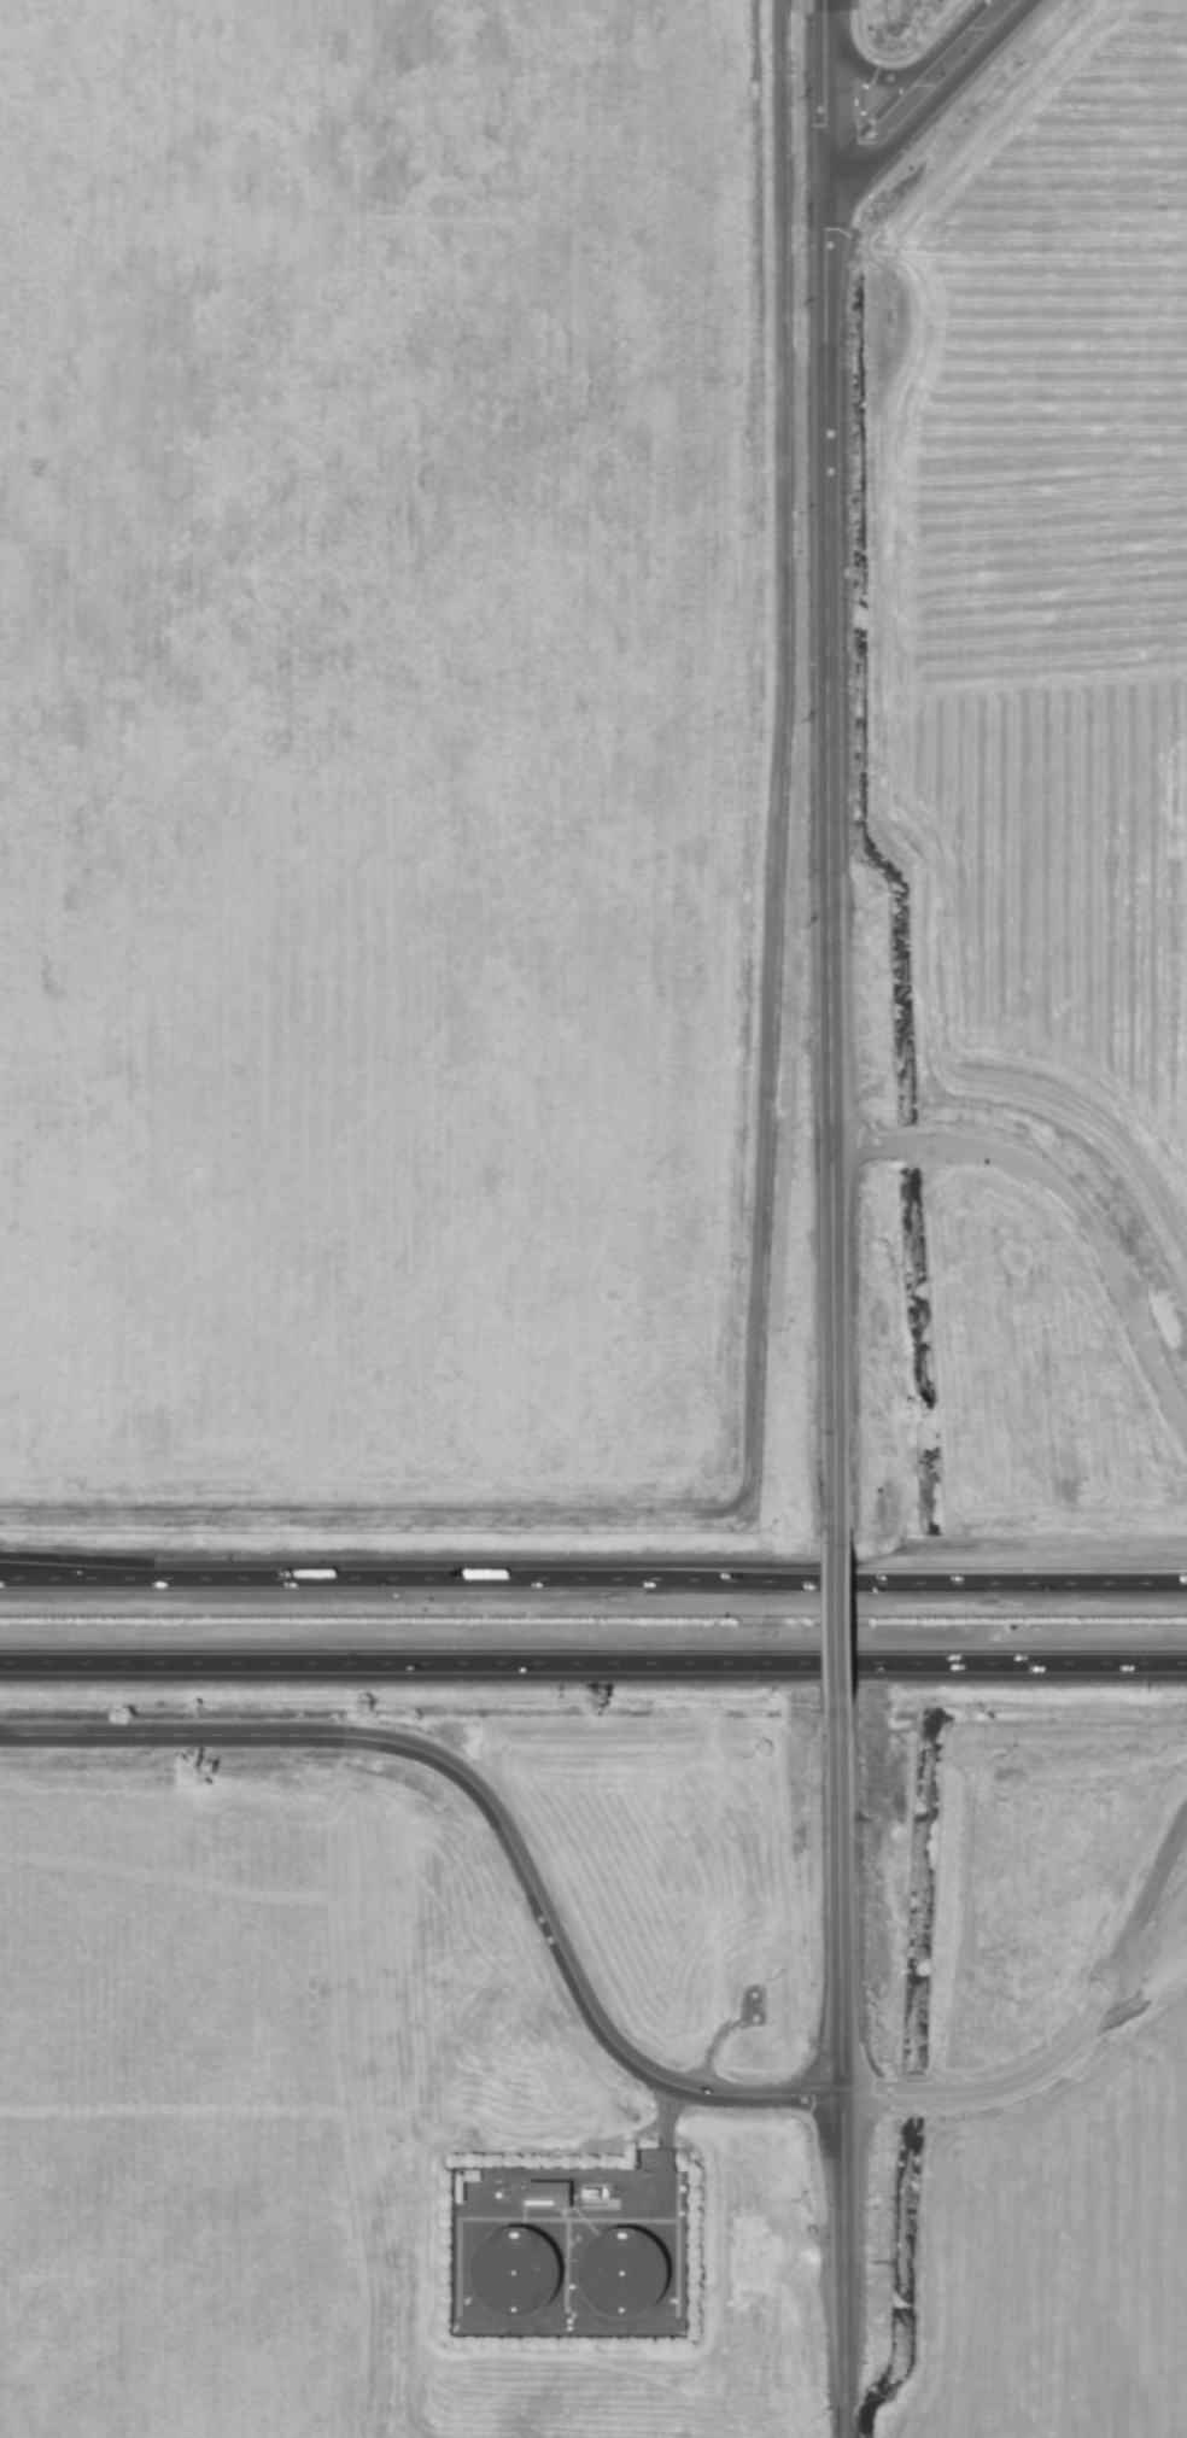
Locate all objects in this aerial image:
road: (873, 76)
road: (905, 83)
road: (932, 103)
airport: (392, 764)
road: (826, 772)
road: (1070, 1197)
road: (592, 1577)
road: (835, 1620)
road: (593, 1664)
road: (490, 1802)
road: (838, 2068)
road: (1033, 2077)

